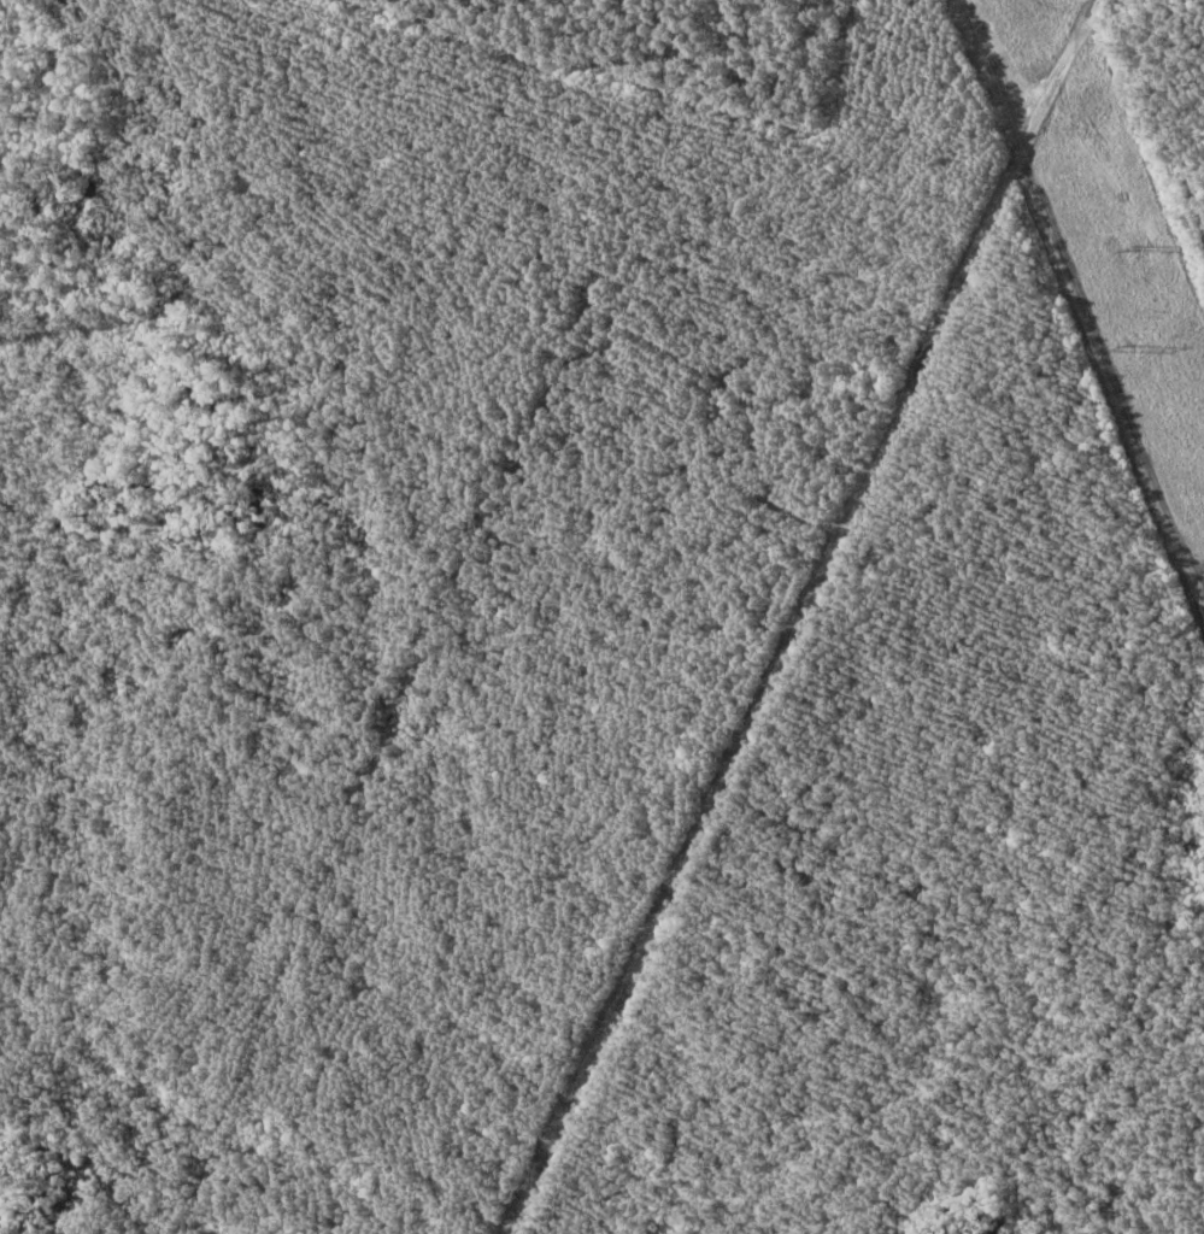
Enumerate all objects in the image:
power tower: (1150, 246)
power tower: (1133, 348)
road: (791, 611)

